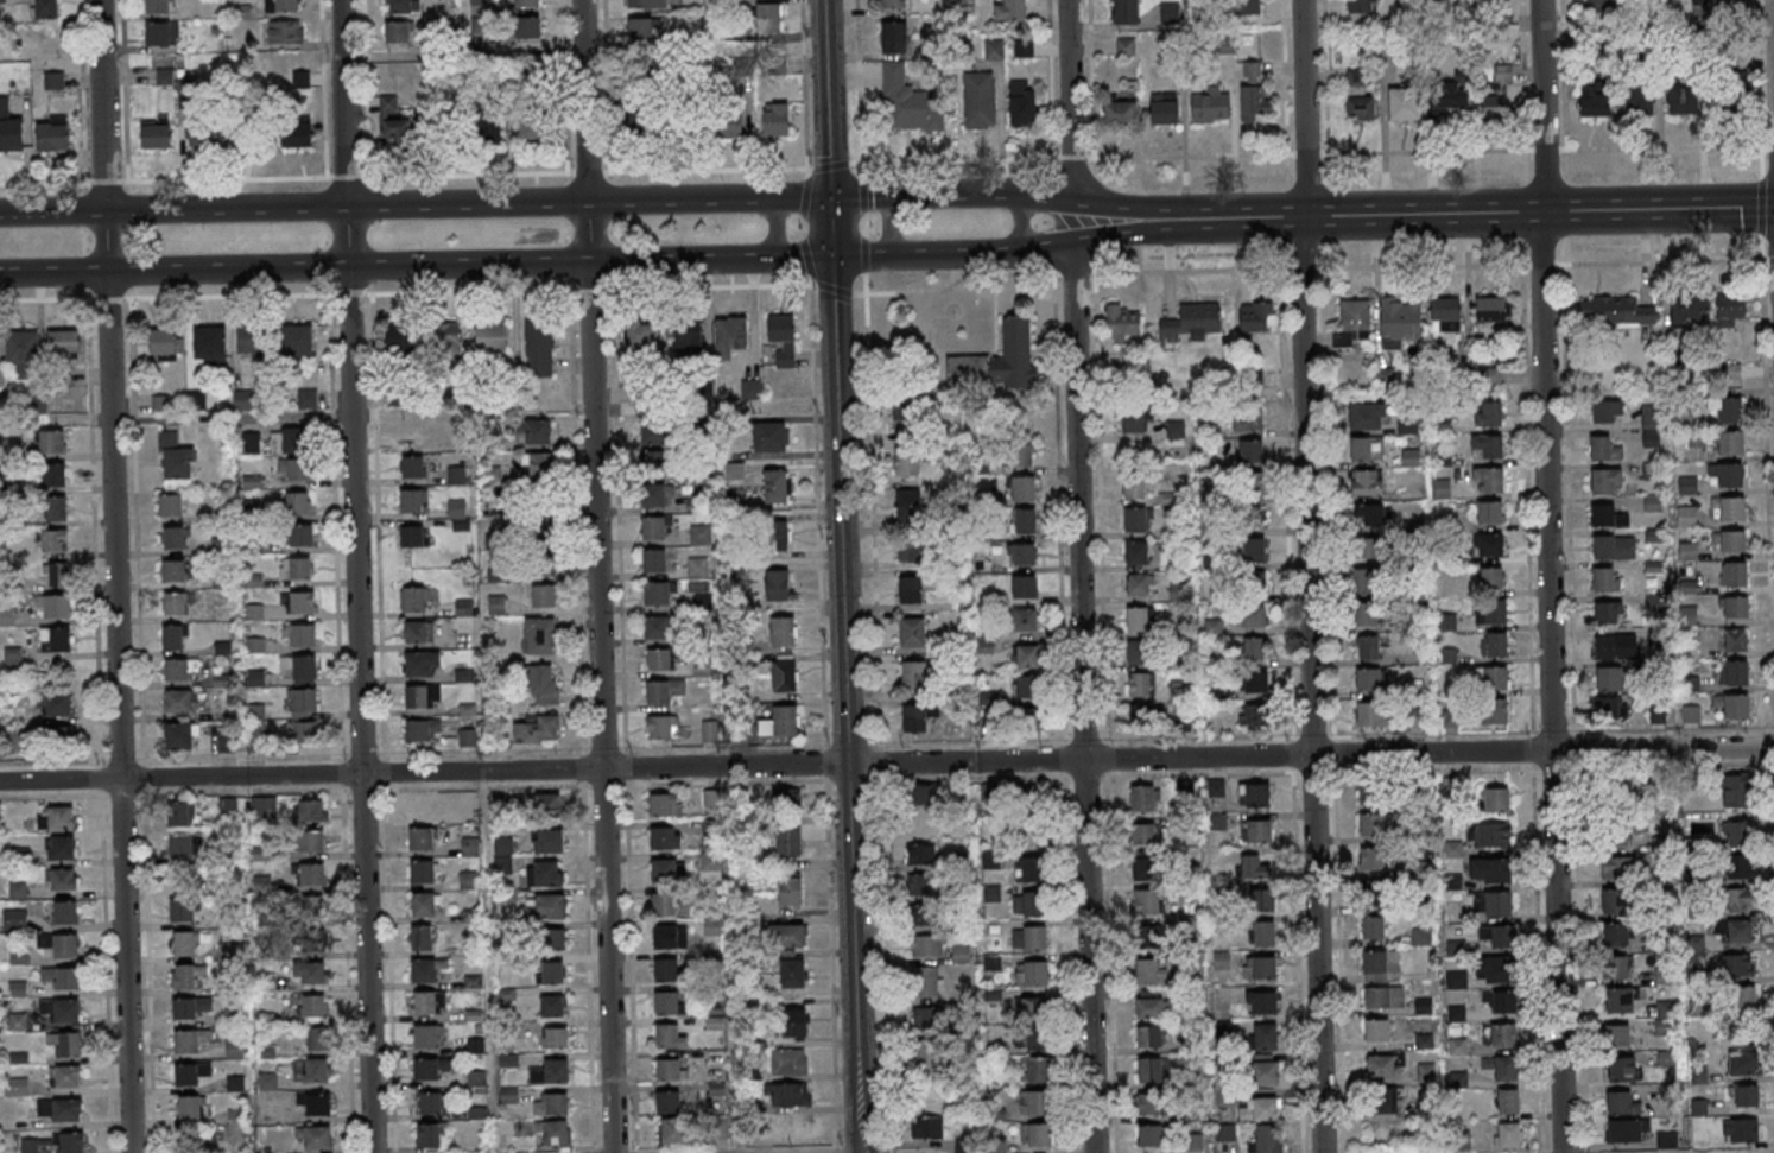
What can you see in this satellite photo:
building: (527, 4)
building: (645, 4)
building: (891, 4)
building: (1712, 4)
building: (158, 6)
building: (286, 6)
building: (403, 6)
building: (1358, 6)
building: (1247, 7)
building: (46, 8)
building: (1602, 8)
building: (1010, 11)
building: (1126, 12)
building: (1170, 12)
building: (768, 18)
building: (528, 27)
building: (640, 28)
building: (285, 31)
building: (398, 32)
building: (161, 33)
building: (893, 37)
building: (302, 80)
building: (1253, 89)
building: (626, 93)
building: (1358, 96)
building: (1450, 97)
building: (1595, 99)
building: (1683, 99)
building: (901, 100)
building: (977, 100)
building: (1731, 101)
building: (1639, 102)
building: (1021, 103)
building: (1494, 103)
building: (1405, 104)
building: (1211, 106)
building: (1164, 109)
building: (1120, 114)
building: (775, 119)
building: (727, 122)
building: (395, 123)
building: (636, 126)
building: (532, 131)
building: (11, 132)
building: (52, 133)
building: (482, 133)
building: (156, 134)
building: (203, 134)
building: (297, 134)
traffic signals: (830, 197)
road: (593, 201)
road: (1658, 210)
road: (52, 211)
road: (1306, 216)
road: (892, 226)
road: (1018, 226)
road: (778, 227)
traffic signals: (831, 258)
road: (620, 261)
road: (80, 273)
road: (888, 292)
building: (1731, 309)
building: (1490, 310)
building: (1615, 311)
building: (1686, 311)
building: (1444, 313)
building: (1256, 317)
building: (1400, 318)
building: (1352, 321)
building: (1192, 322)
building: (1122, 323)
building: (730, 335)
building: (448, 336)
building: (490, 336)
building: (640, 336)
building: (781, 337)
building: (401, 340)
building: (253, 341)
building: (302, 341)
building: (63, 342)
building: (165, 343)
building: (210, 343)
building: (539, 347)
building: (24, 351)
building: (997, 361)
building: (1731, 372)
building: (750, 388)
building: (406, 394)
building: (242, 400)
building: (1727, 410)
building: (1608, 411)
building: (1488, 413)
building: (1368, 416)
road: (230, 417)
building: (1247, 419)
building: (910, 420)
building: (1133, 422)
building: (1651, 425)
building: (537, 431)
building: (655, 432)
building: (769, 437)
building: (289, 441)
building: (1696, 441)
building: (52, 442)
building: (1730, 444)
building: (1487, 446)
building: (1367, 449)
building: (1604, 449)
building: (1250, 450)
building: (1019, 455)
building: (175, 457)
building: (654, 460)
building: (911, 461)
building: (538, 464)
building: (412, 465)
building: (293, 469)
building: (52, 474)
building: (456, 475)
building: (1729, 476)
building: (1488, 480)
building: (1607, 481)
building: (1367, 482)
building: (1253, 483)
building: (1687, 484)
building: (777, 486)
building: (1024, 488)
building: (1133, 488)
building: (653, 495)
building: (413, 501)
building: (296, 502)
building: (171, 503)
building: (911, 506)
building: (456, 507)
building: (57, 508)
building: (1730, 508)
building: (1488, 512)
building: (1369, 514)
building: (1607, 515)
building: (1686, 515)
building: (1253, 517)
building: (1024, 520)
building: (1136, 520)
building: (462, 524)
building: (655, 526)
building: (304, 534)
building: (699, 534)
building: (411, 536)
building: (778, 536)
building: (173, 537)
building: (55, 540)
building: (1729, 541)
building: (1488, 544)
building: (545, 545)
building: (1615, 546)
building: (1370, 547)
building: (1254, 550)
building: (1687, 551)
building: (908, 552)
building: (1021, 553)
building: (1135, 553)
building: (653, 560)
building: (697, 566)
building: (300, 568)
building: (175, 570)
road: (841, 572)
building: (1735, 574)
building: (57, 575)
road: (114, 576)
road: (356, 576)
road: (597, 576)
road: (1079, 576)
road: (1309, 576)
road: (1548, 576)
building: (1491, 577)
building: (1607, 579)
building: (1367, 582)
building: (777, 583)
building: (1253, 583)
building: (1136, 585)
building: (1024, 587)
building: (910, 590)
building: (659, 591)
building: (1179, 593)
building: (544, 595)
building: (414, 597)
building: (703, 601)
building: (300, 602)
building: (173, 603)
building: (53, 604)
building: (496, 604)
building: (463, 607)
building: (1735, 607)
building: (1495, 612)
building: (1609, 613)
building: (6, 615)
building: (1366, 615)
building: (1249, 616)
building: (1138, 619)
building: (1025, 620)
building: (660, 626)
building: (416, 631)
building: (784, 632)
building: (912, 632)
building: (302, 635)
building: (540, 635)
building: (172, 638)
building: (56, 639)
building: (1736, 640)
building: (1494, 644)
building: (1368, 647)
building: (1616, 647)
building: (1254, 650)
building: (1138, 653)
building: (1025, 655)
building: (661, 658)
building: (419, 664)
building: (703, 667)
building: (176, 670)
building: (304, 670)
building: (1735, 673)
building: (784, 674)
building: (913, 677)
building: (1491, 677)
building: (1367, 679)
building: (1609, 679)
building: (1254, 683)
building: (544, 684)
building: (1138, 685)
building: (1026, 686)
building: (664, 690)
building: (1180, 691)
building: (422, 697)
building: (304, 702)
building: (177, 703)
building: (53, 704)
building: (1732, 705)
building: (467, 708)
building: (1608, 708)
building: (1494, 710)
building: (255, 711)
building: (1369, 714)
building: (1145, 715)
building: (1255, 715)
building: (1656, 715)
building: (1691, 715)
building: (917, 718)
building: (779, 721)
building: (663, 726)
building: (537, 727)
building: (420, 728)
building: (710, 730)
building: (302, 733)
building: (467, 736)
building: (178, 737)
building: (226, 742)
road: (886, 764)
building: (1736, 790)
building: (1607, 792)
building: (1256, 794)
building: (921, 796)
building: (996, 798)
building: (1142, 798)
building: (710, 799)
building: (785, 799)
building: (1496, 799)
building: (1034, 802)
building: (500, 804)
building: (665, 804)
building: (544, 806)
building: (228, 809)
building: (422, 810)
building: (0, 812)
building: (310, 812)
building: (180, 815)
building: (57, 817)
building: (921, 824)
building: (1371, 824)
building: (1609, 829)
building: (1256, 830)
building: (1736, 832)
building: (1146, 834)
building: (1494, 835)
building: (665, 837)
building: (423, 838)
building: (788, 841)
building: (311, 842)
building: (549, 842)
building: (180, 845)
building: (61, 847)
building: (470, 847)
building: (502, 847)
building: (1452, 849)
building: (920, 855)
building: (958, 860)
building: (1373, 860)
building: (710, 861)
building: (1143, 867)
building: (1253, 867)
building: (1621, 867)
building: (1740, 867)
building: (663, 870)
building: (1027, 870)
building: (1490, 870)
building: (423, 872)
building: (545, 874)
building: (310, 875)
building: (62, 879)
building: (468, 881)
building: (1453, 882)
building: (921, 883)
building: (790, 892)
building: (1375, 898)
building: (1618, 899)
building: (1257, 900)
building: (1146, 901)
building: (1738, 901)
building: (1495, 904)
building: (423, 905)
building: (669, 905)
building: (1028, 905)
building: (310, 906)
building: (546, 906)
building: (182, 911)
building: (65, 912)
building: (924, 916)
building: (14, 919)
building: (1371, 929)
building: (1735, 932)
building: (1265, 933)
building: (791, 935)
building: (1616, 935)
building: (1147, 936)
building: (1501, 936)
building: (670, 937)
building: (1419, 937)
building: (422, 938)
building: (553, 938)
building: (1028, 938)
building: (311, 939)
building: (184, 944)
building: (59, 945)
building: (927, 945)
building: (227, 952)
building: (961, 954)
building: (20, 958)
building: (1379, 963)
building: (1615, 967)
building: (1263, 968)
building: (666, 969)
building: (1496, 969)
building: (423, 970)
building: (1151, 970)
building: (792, 971)
building: (310, 973)
building: (552, 973)
building: (1032, 973)
building: (62, 977)
building: (184, 977)
building: (926, 982)
building: (1383, 999)
building: (1620, 999)
building: (1500, 1001)
building: (1744, 1001)
building: (666, 1002)
building: (1265, 1002)
building: (425, 1003)
building: (1149, 1005)
building: (552, 1006)
building: (1033, 1007)
building: (190, 1008)
building: (311, 1009)
building: (62, 1011)
building: (234, 1016)
building: (926, 1019)
building: (793, 1022)
building: (1376, 1031)
building: (1620, 1034)
building: (1149, 1035)
building: (1503, 1035)
building: (426, 1037)
building: (555, 1037)
building: (669, 1037)
building: (1266, 1037)
building: (1032, 1039)
building: (190, 1040)
building: (316, 1040)
building: (69, 1045)
building: (234, 1050)
building: (267, 1052)
building: (924, 1056)
building: (792, 1062)
building: (1744, 1064)
building: (1386, 1066)
building: (1502, 1068)
building: (426, 1069)
building: (1153, 1069)
building: (1622, 1069)
building: (670, 1070)
building: (311, 1071)
building: (551, 1071)
building: (1038, 1071)
building: (1426, 1072)
building: (190, 1073)
building: (1265, 1075)
building: (65, 1077)
building: (268, 1082)
building: (788, 1095)
building: (1747, 1095)
building: (930, 1096)
building: (667, 1101)
building: (1386, 1101)
building: (430, 1102)
building: (1507, 1102)
building: (1622, 1102)
building: (315, 1103)
building: (551, 1104)
building: (1034, 1104)
building: (1148, 1106)
building: (189, 1108)
building: (68, 1110)
building: (1259, 1110)
building: (268, 1115)
building: (239, 1125)
building: (926, 1128)
building: (718, 1129)
building: (1741, 1129)
building: (1626, 1130)
building: (674, 1132)
building: (556, 1133)
building: (430, 1135)
building: (315, 1136)
building: (1037, 1136)
building: (1149, 1136)
building: (1507, 1136)
building: (1266, 1139)
building: (1667, 1140)
building: (71, 1142)
building: (963, 1146)
building: (997, 1146)
road: (860, 1149)

